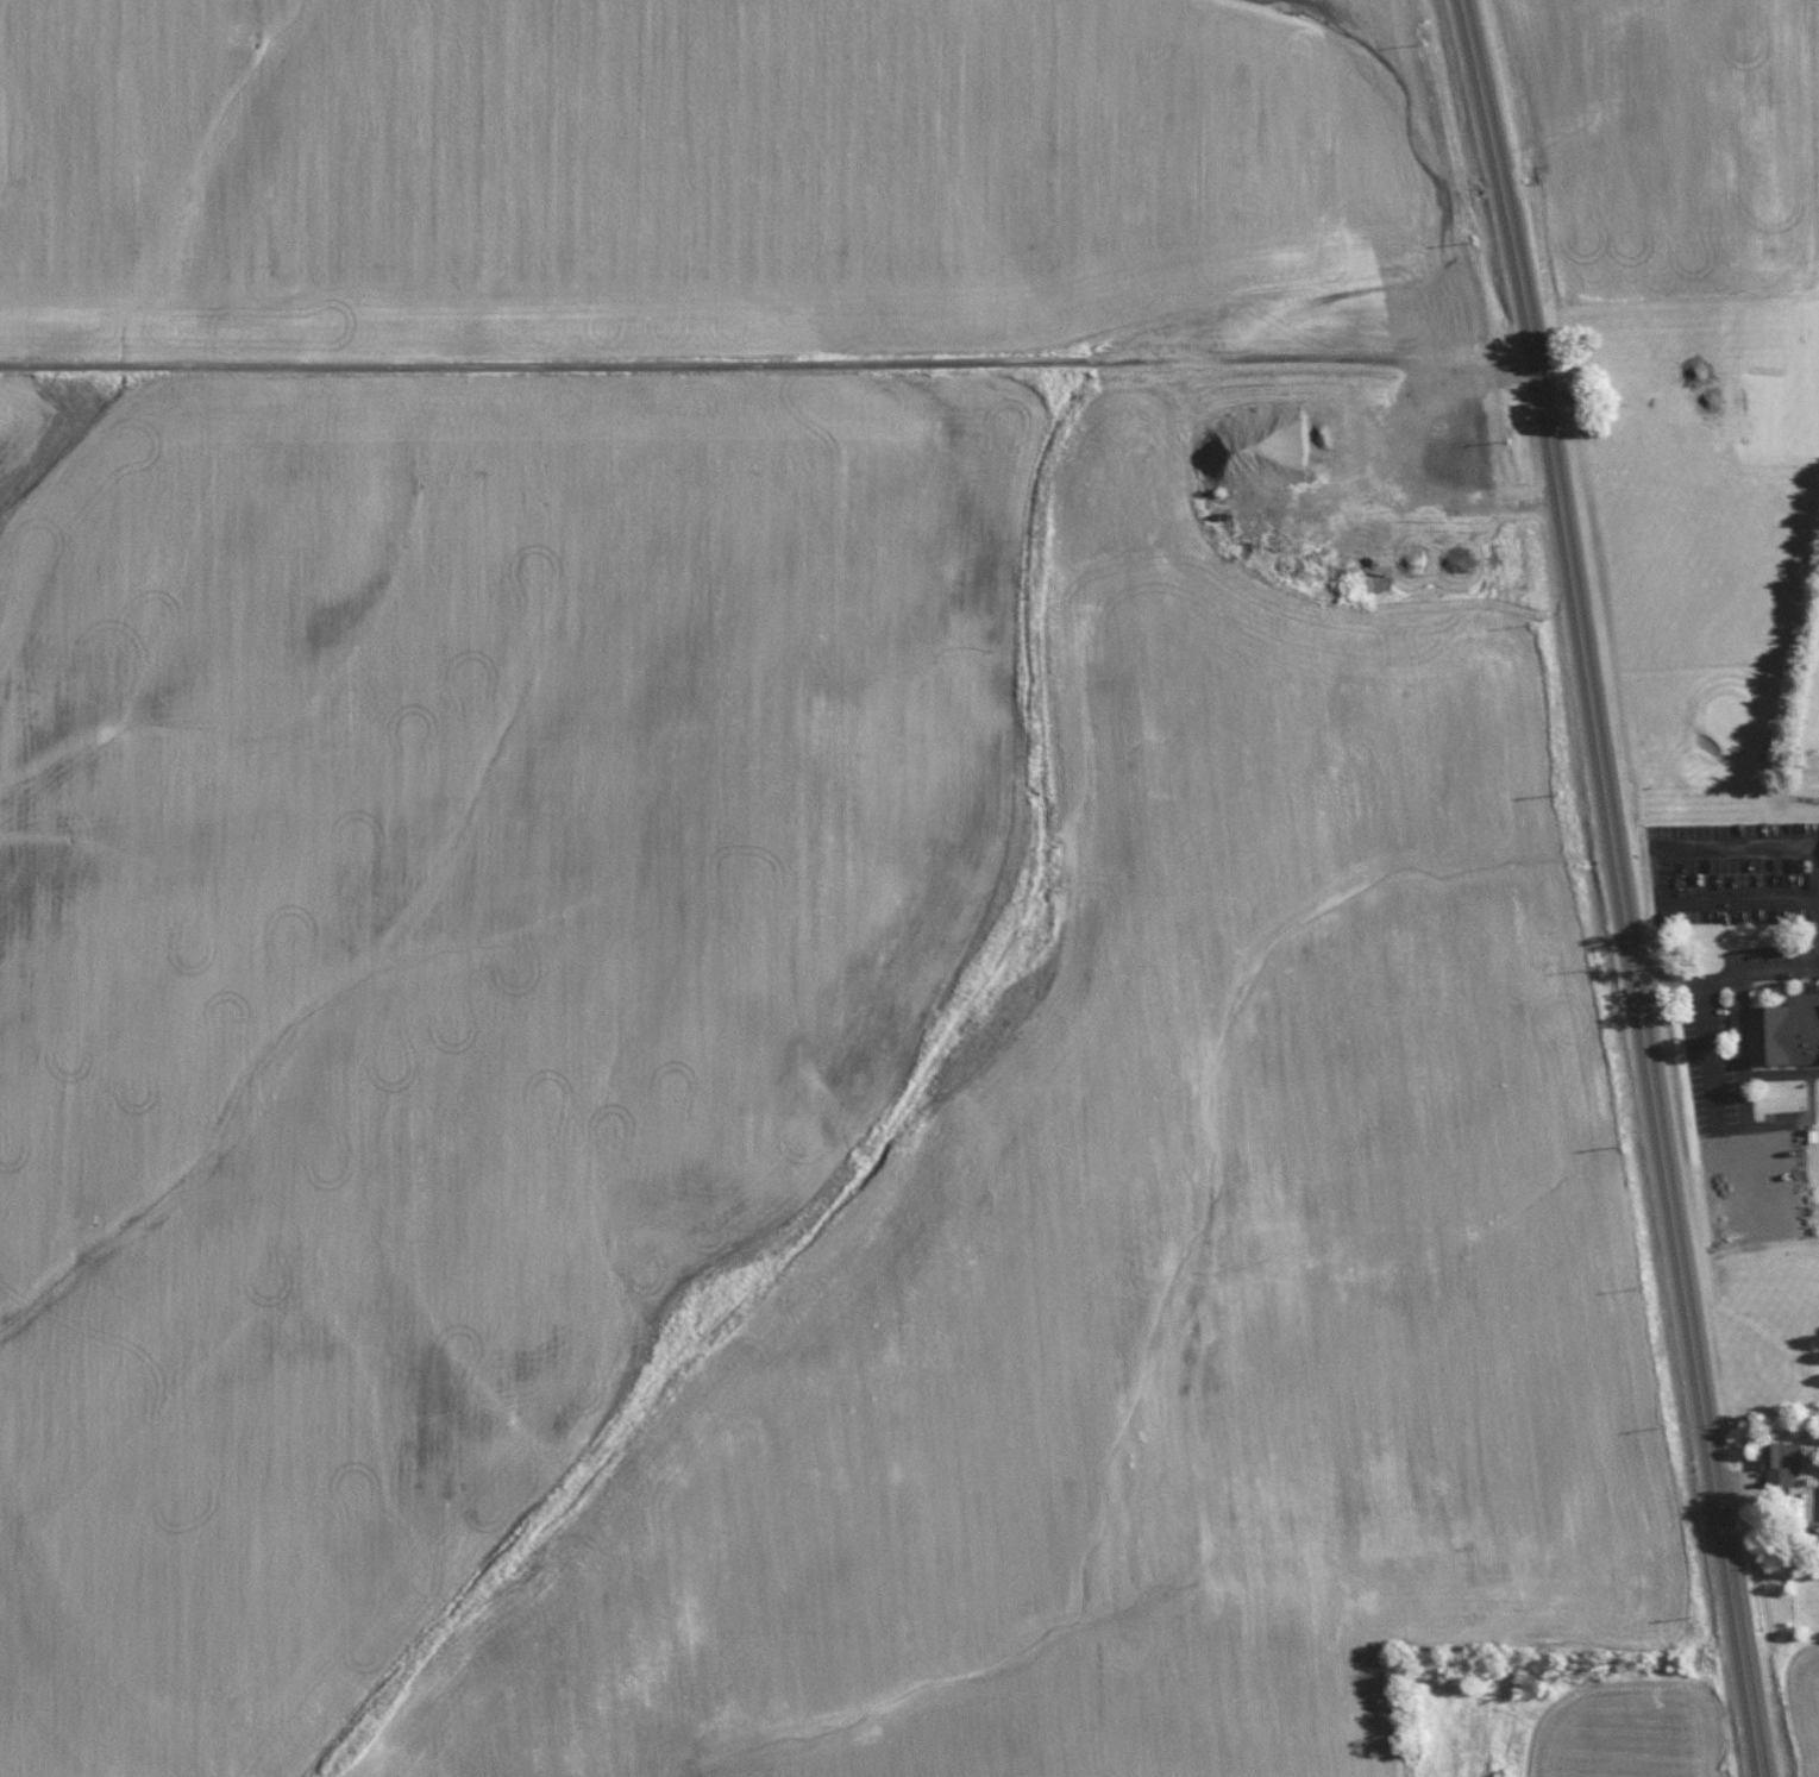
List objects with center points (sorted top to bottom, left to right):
park: (1718, 667)
road: (1592, 715)
parking lot: (1750, 859)
road: (1660, 874)
road: (1620, 887)
road: (1727, 977)
building: (1784, 1028)
road: (1744, 1061)
road: (1745, 1099)
road: (1717, 1125)
building: (1782, 1461)

